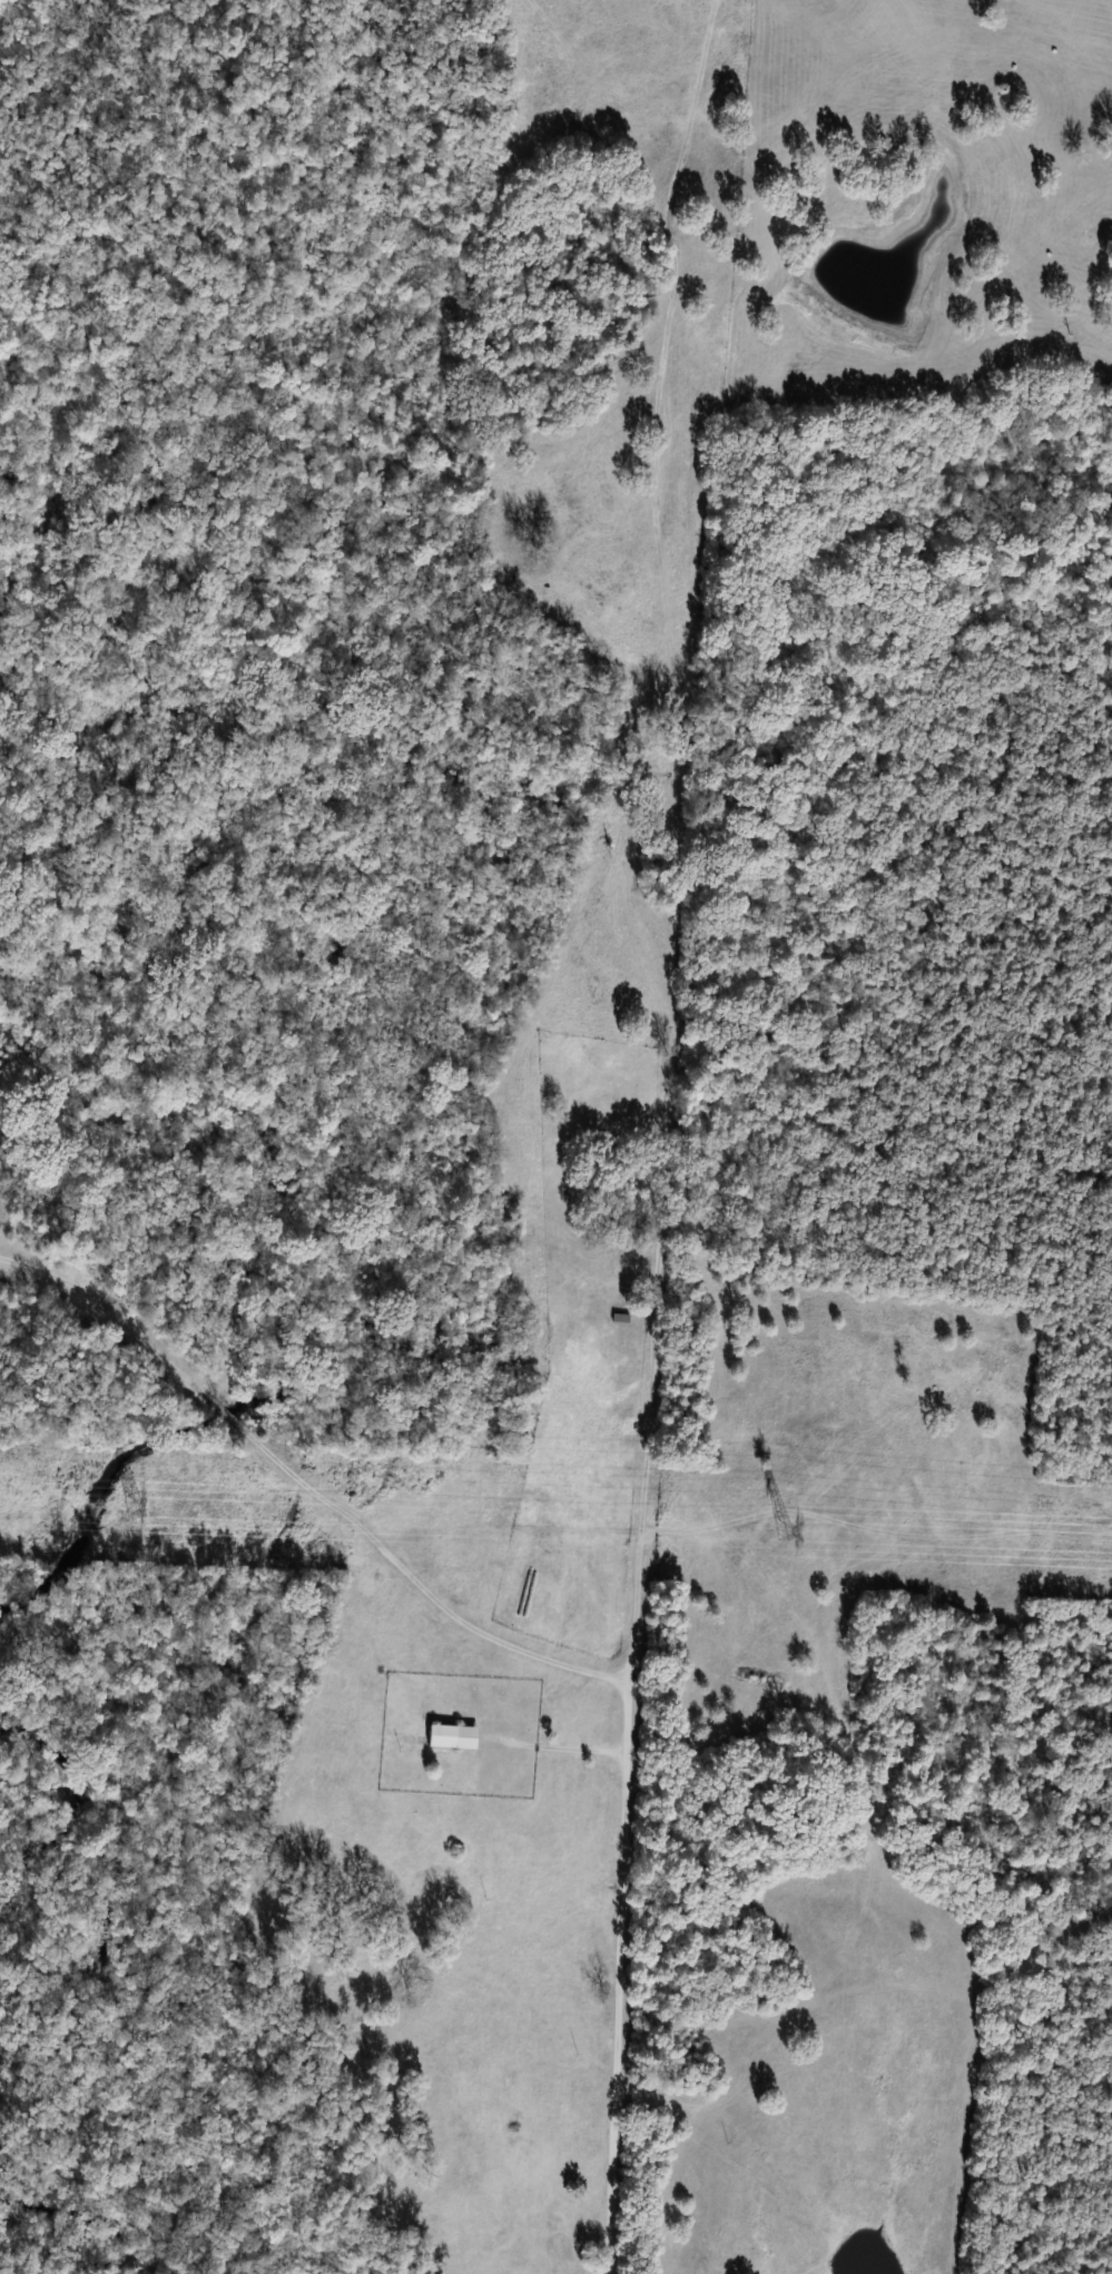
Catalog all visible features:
road: (658, 1133)
road: (303, 1485)
power tower: (135, 1507)
power tower: (784, 1530)
building: (451, 1736)
road: (552, 1744)

